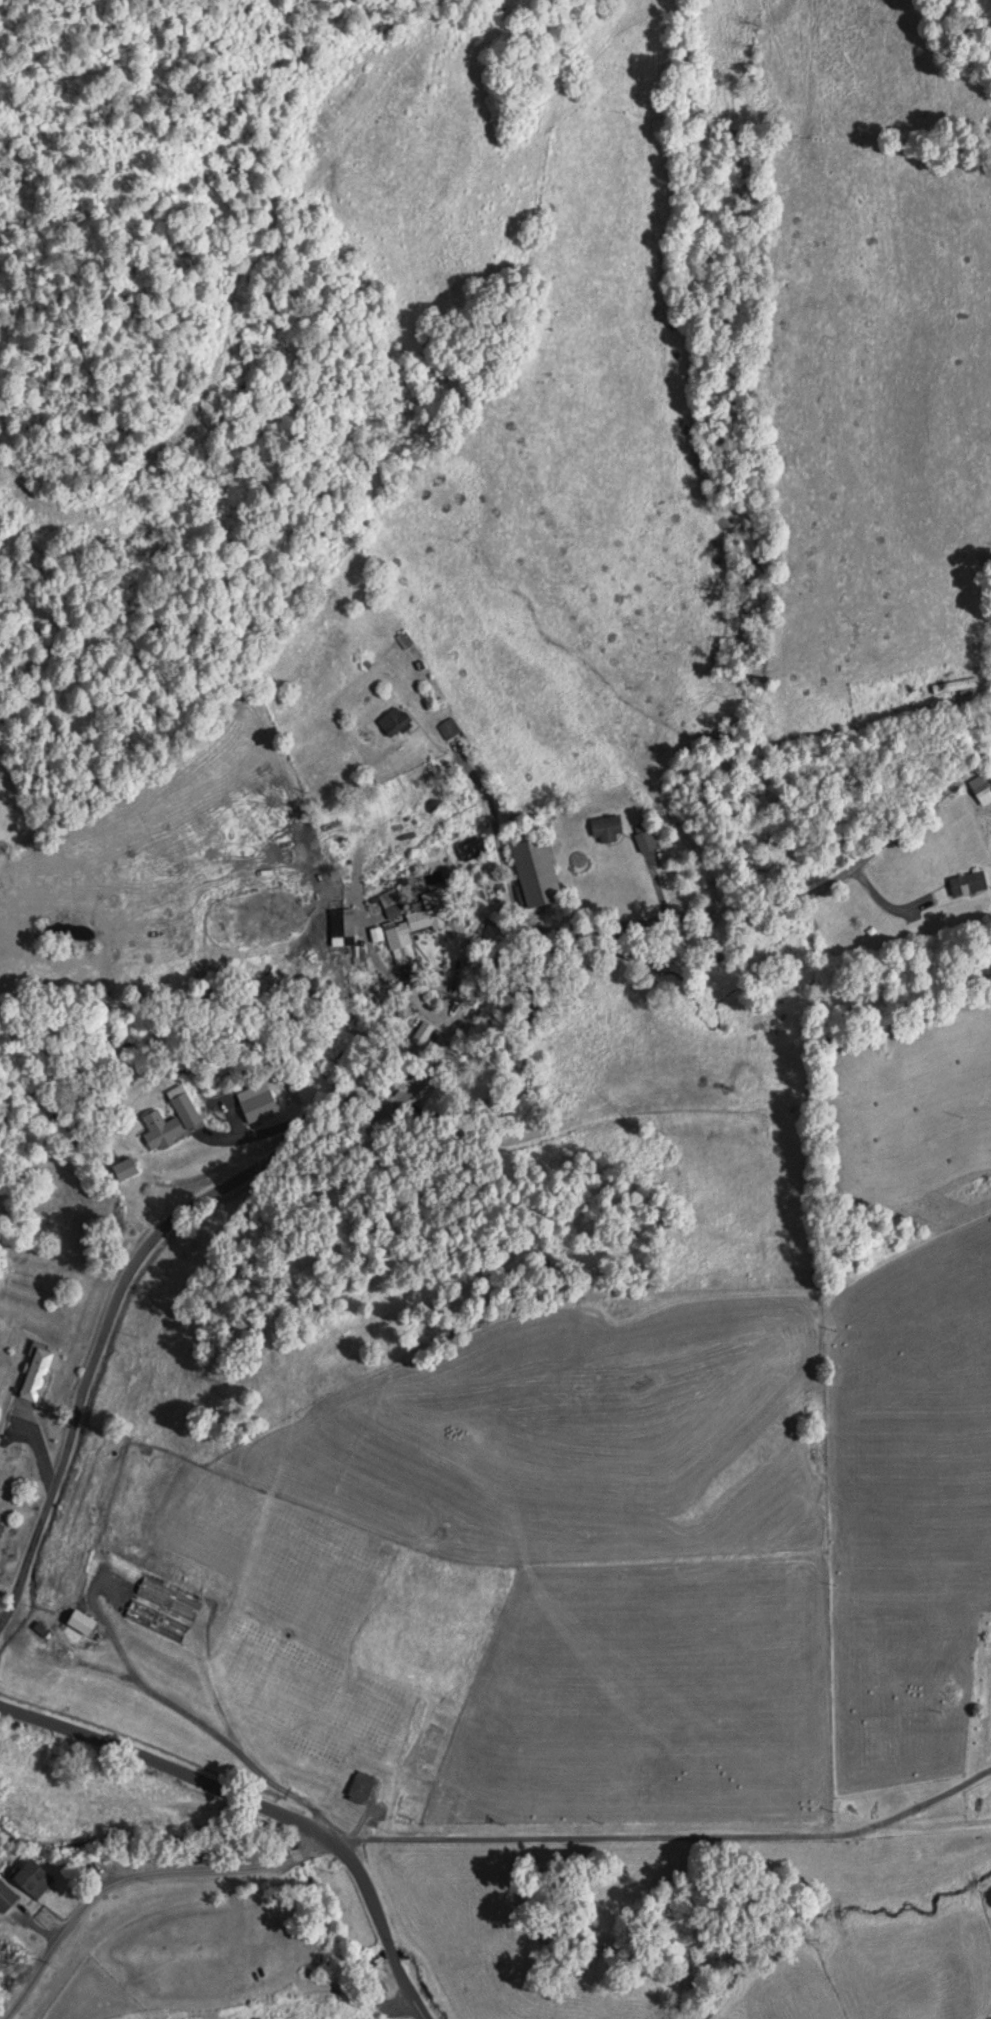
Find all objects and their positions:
building: (403, 639)
building: (952, 686)
building: (393, 722)
road: (807, 727)
building: (447, 728)
building: (980, 789)
building: (605, 829)
building: (474, 850)
building: (534, 872)
building: (966, 884)
road: (308, 904)
building: (340, 926)
road: (272, 933)
building: (404, 933)
road: (415, 1085)
building: (161, 1130)
building: (36, 1371)
building: (1, 1449)
building: (167, 1598)
building: (155, 1620)
building: (80, 1623)
building: (359, 1786)
road: (265, 1804)
road: (672, 1836)
road: (139, 1875)
building: (32, 1879)
building: (5, 1898)
building: (8, 1958)

